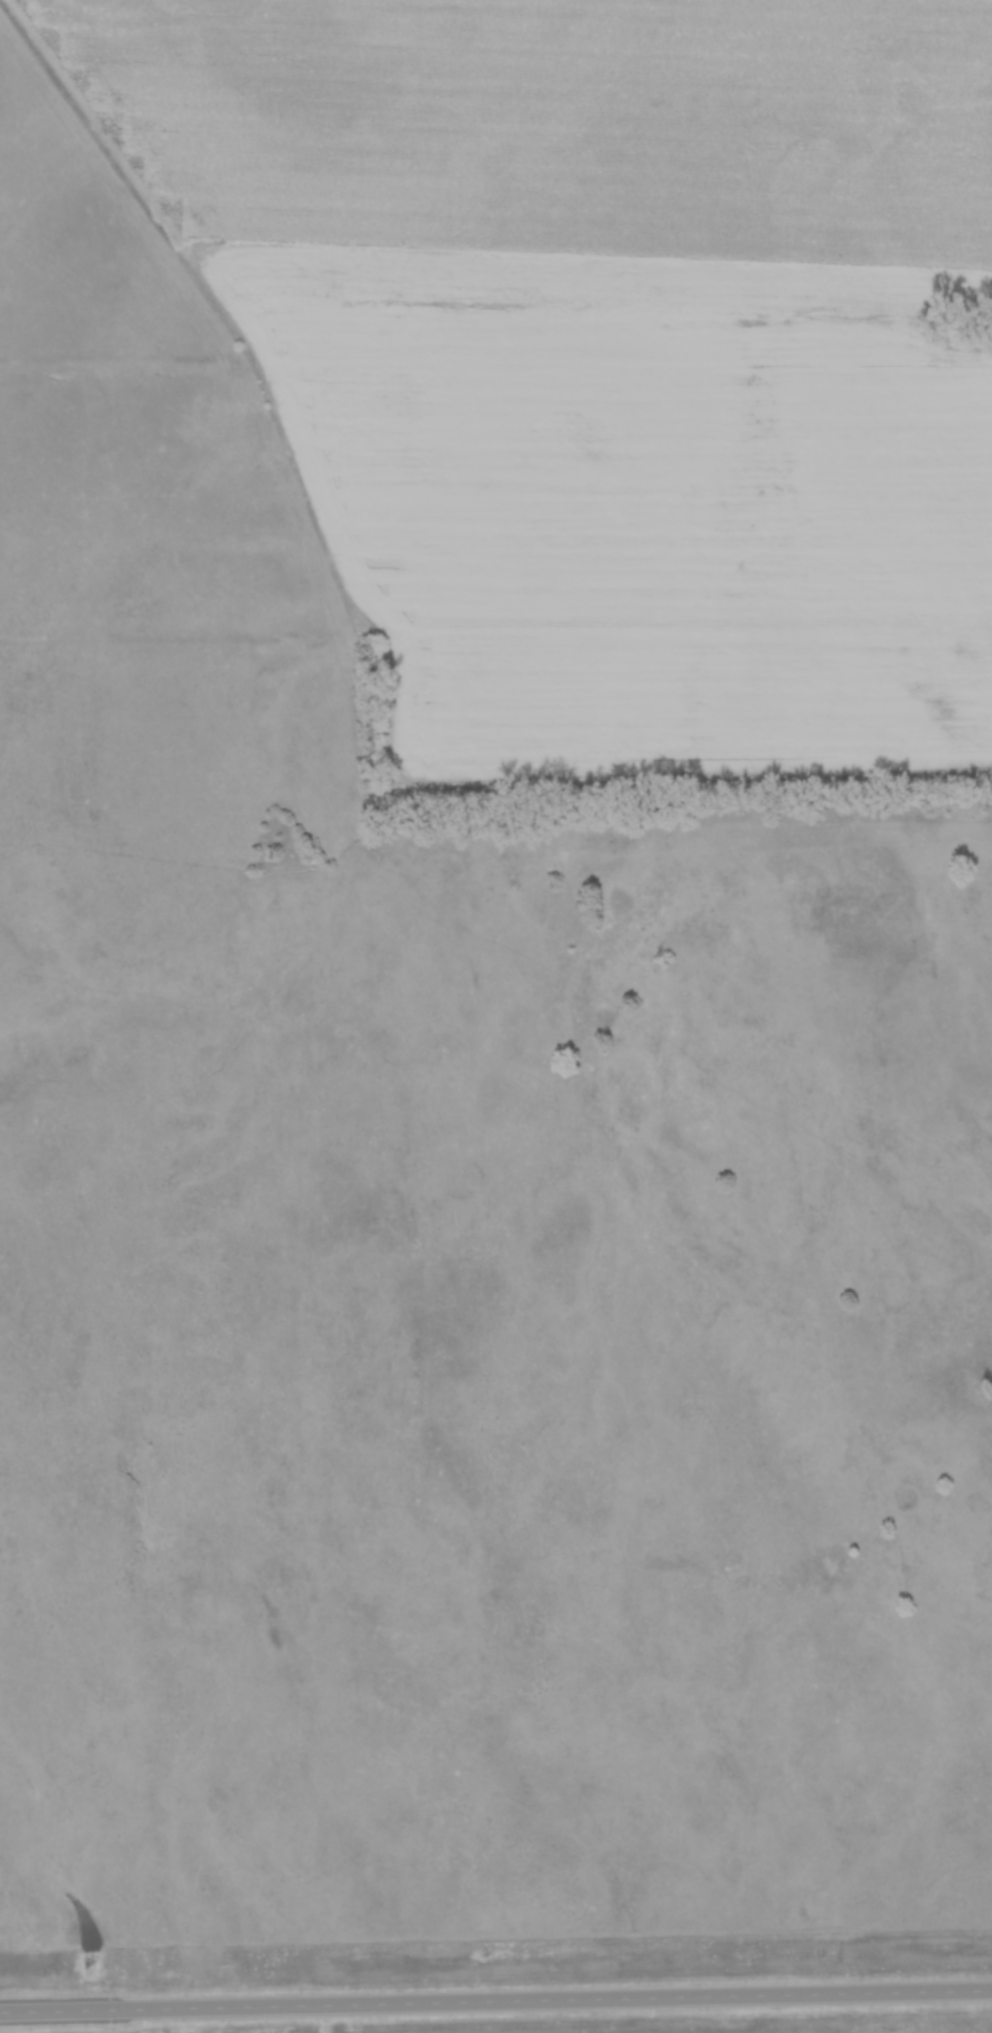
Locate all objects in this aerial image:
road: (496, 2003)

